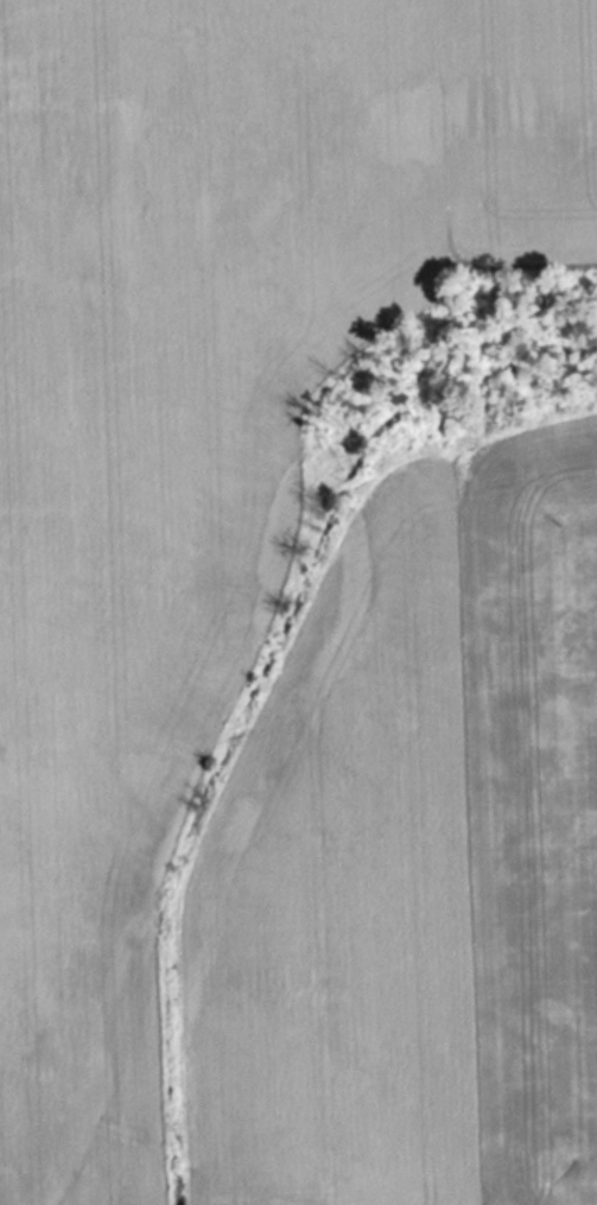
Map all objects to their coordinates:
crop: (298, 602)

